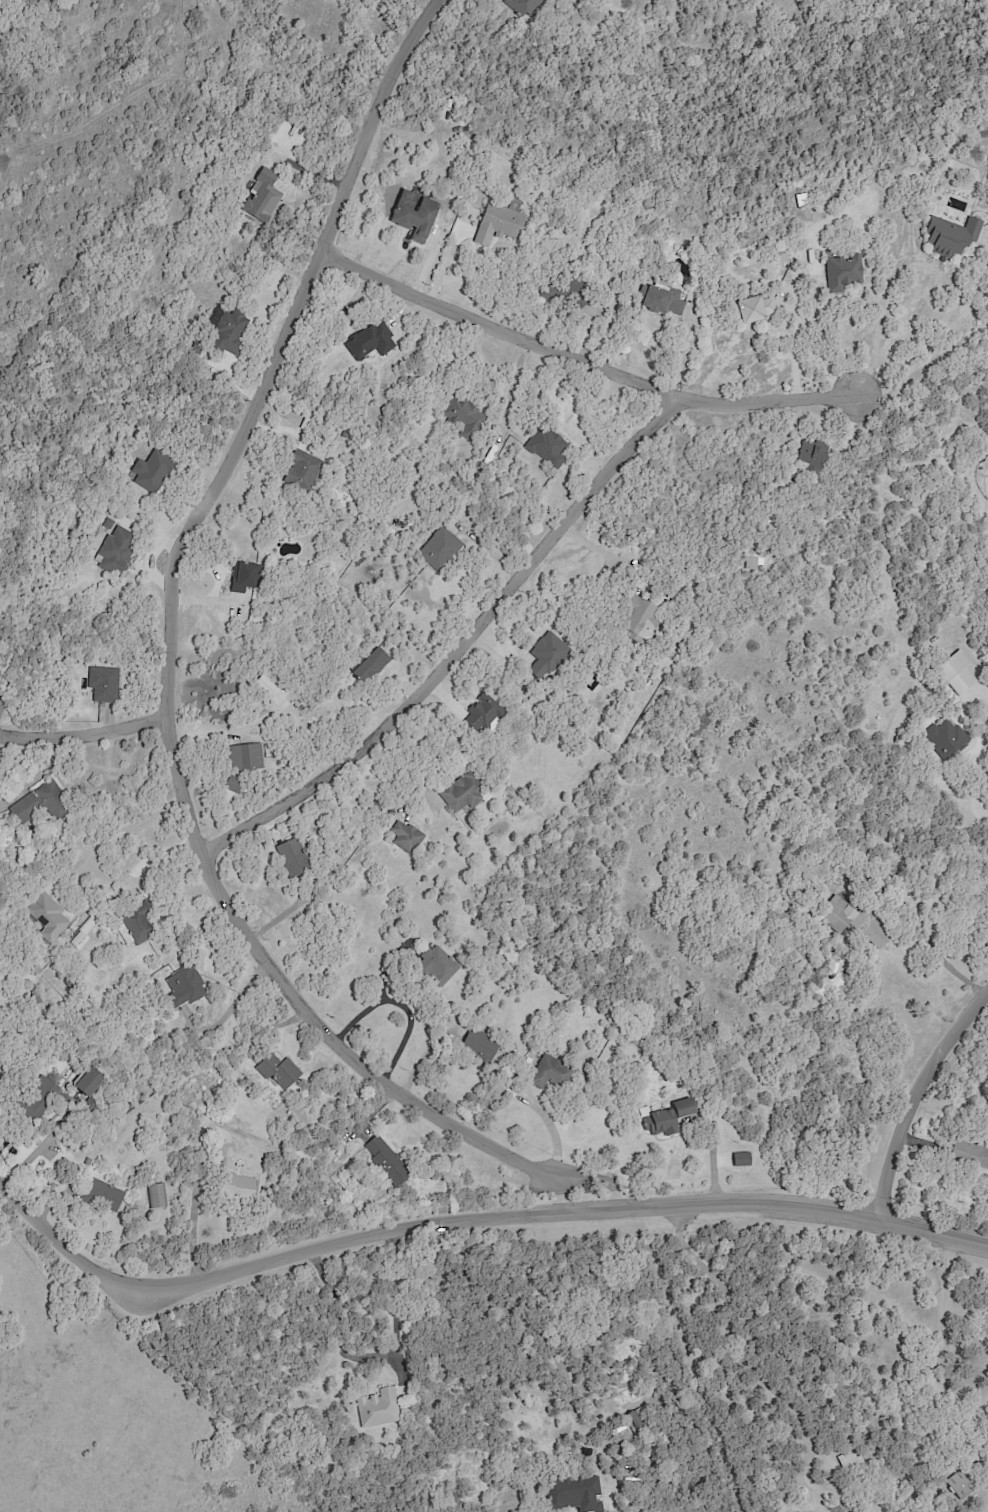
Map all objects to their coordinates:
building: (261, 197)
building: (414, 215)
building: (498, 224)
building: (951, 235)
building: (842, 273)
road: (942, 280)
building: (663, 300)
building: (755, 308)
building: (228, 329)
building: (370, 341)
road: (682, 351)
road: (577, 366)
building: (461, 415)
building: (546, 446)
building: (812, 453)
building: (301, 468)
building: (150, 470)
building: (439, 548)
building: (115, 552)
road: (602, 553)
building: (754, 563)
building: (244, 577)
building: (638, 617)
road: (453, 648)
building: (544, 655)
building: (371, 665)
building: (956, 672)
building: (104, 684)
road: (167, 692)
building: (483, 713)
road: (84, 734)
road: (1, 736)
building: (946, 737)
building: (244, 757)
road: (34, 772)
building: (233, 785)
building: (462, 793)
building: (39, 803)
road: (977, 808)
road: (123, 831)
building: (405, 836)
building: (292, 858)
building: (47, 917)
building: (852, 921)
building: (136, 926)
road: (946, 965)
building: (436, 967)
building: (185, 987)
road: (381, 989)
road: (400, 1006)
road: (226, 1013)
building: (480, 1044)
building: (278, 1071)
building: (549, 1072)
road: (916, 1090)
building: (42, 1096)
building: (670, 1117)
building: (970, 1155)
road: (712, 1156)
building: (741, 1159)
building: (386, 1161)
building: (236, 1187)
building: (104, 1194)
building: (157, 1196)
road: (565, 1196)
road: (470, 1222)
road: (192, 1237)
road: (516, 1321)
road: (394, 1328)
road: (942, 1343)
road: (738, 1362)
building: (378, 1408)
building: (638, 1421)
building: (959, 1485)
building: (576, 1493)

